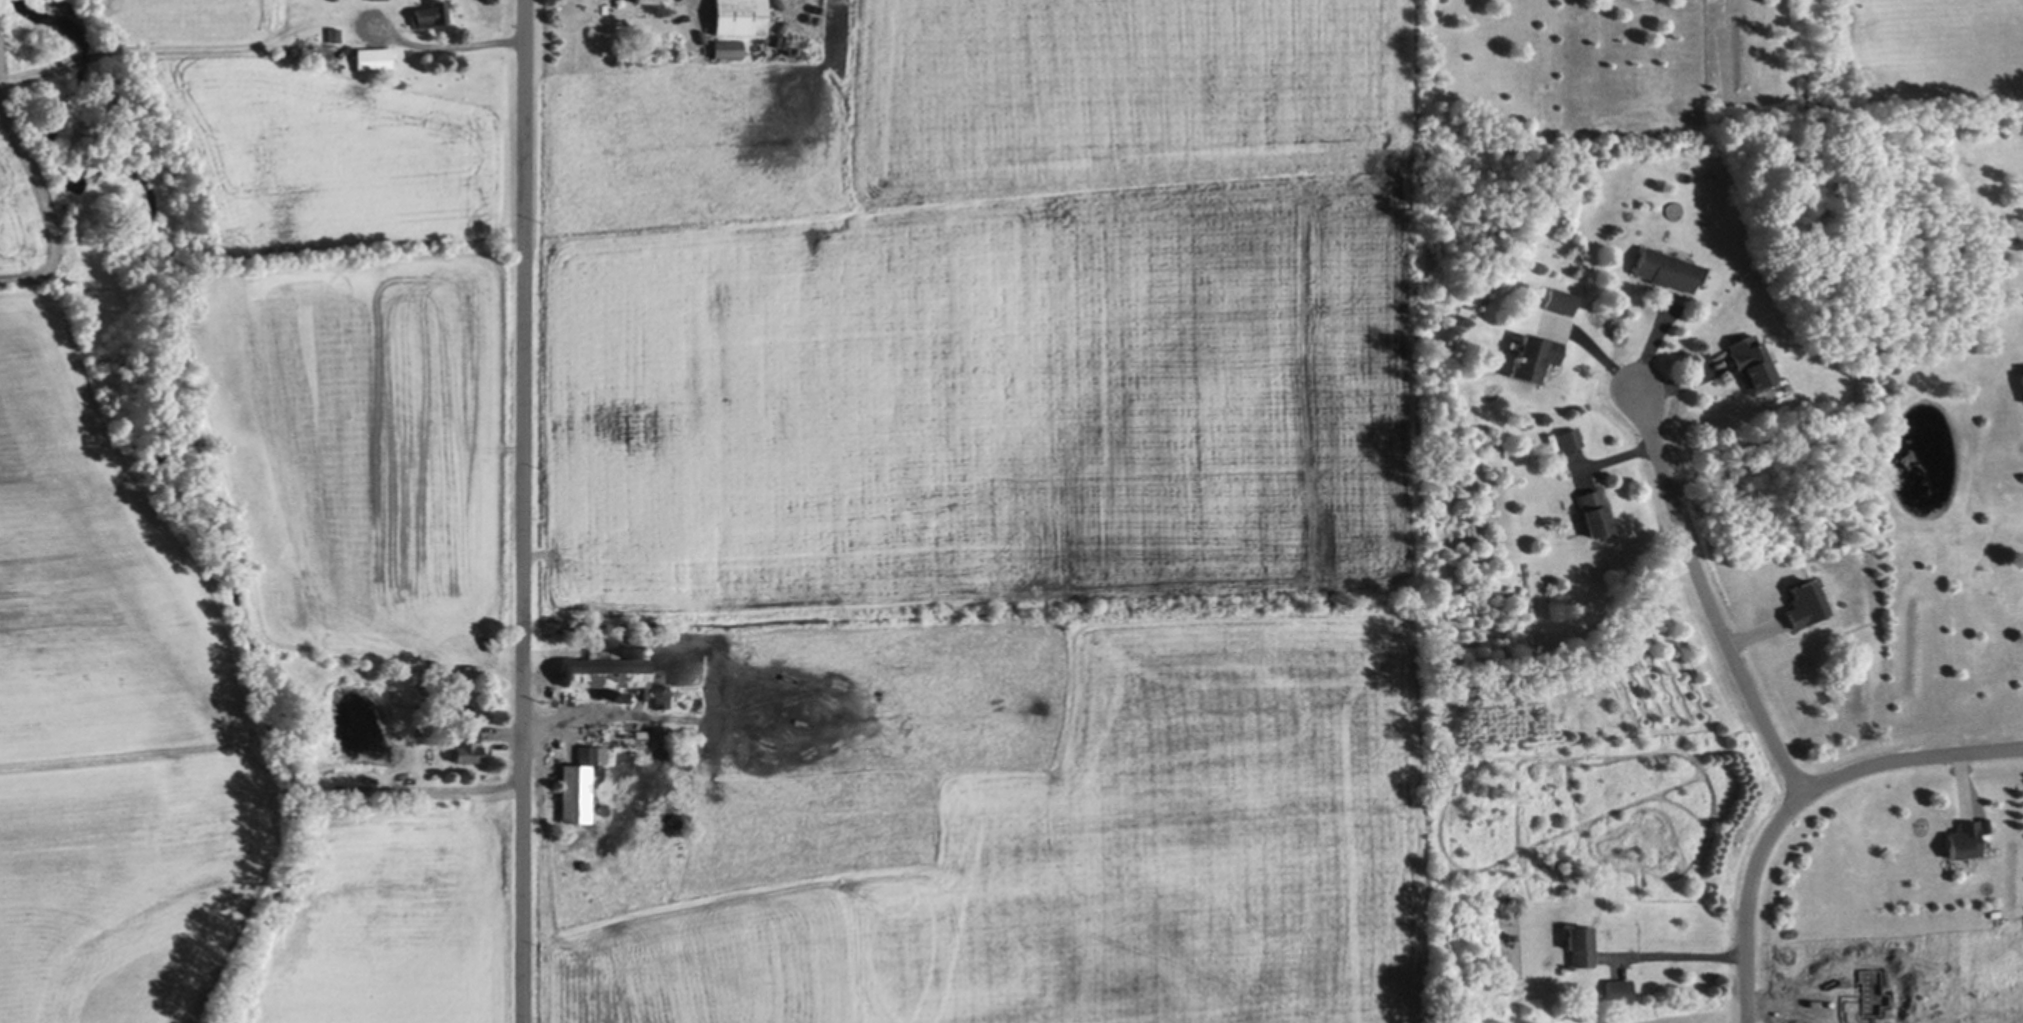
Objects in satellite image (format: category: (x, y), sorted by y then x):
building: (646, 0)
building: (818, 10)
building: (429, 13)
building: (738, 16)
building: (813, 20)
building: (335, 33)
building: (727, 46)
building: (310, 50)
building: (792, 51)
building: (373, 57)
building: (1665, 269)
building: (1560, 301)
road: (1594, 349)
building: (1536, 356)
building: (1751, 363)
building: (2020, 385)
building: (1568, 439)
road: (523, 511)
building: (1594, 514)
crop: (1028, 532)
road: (1707, 594)
building: (1504, 596)
building: (1804, 604)
building: (627, 649)
building: (606, 672)
building: (622, 696)
building: (663, 696)
building: (672, 734)
building: (249, 735)
building: (313, 740)
building: (302, 742)
building: (467, 750)
building: (553, 750)
building: (426, 766)
building: (423, 779)
building: (579, 784)
road: (1796, 799)
building: (601, 810)
building: (1964, 841)
building: (1584, 944)
road: (1676, 952)
building: (1618, 991)

